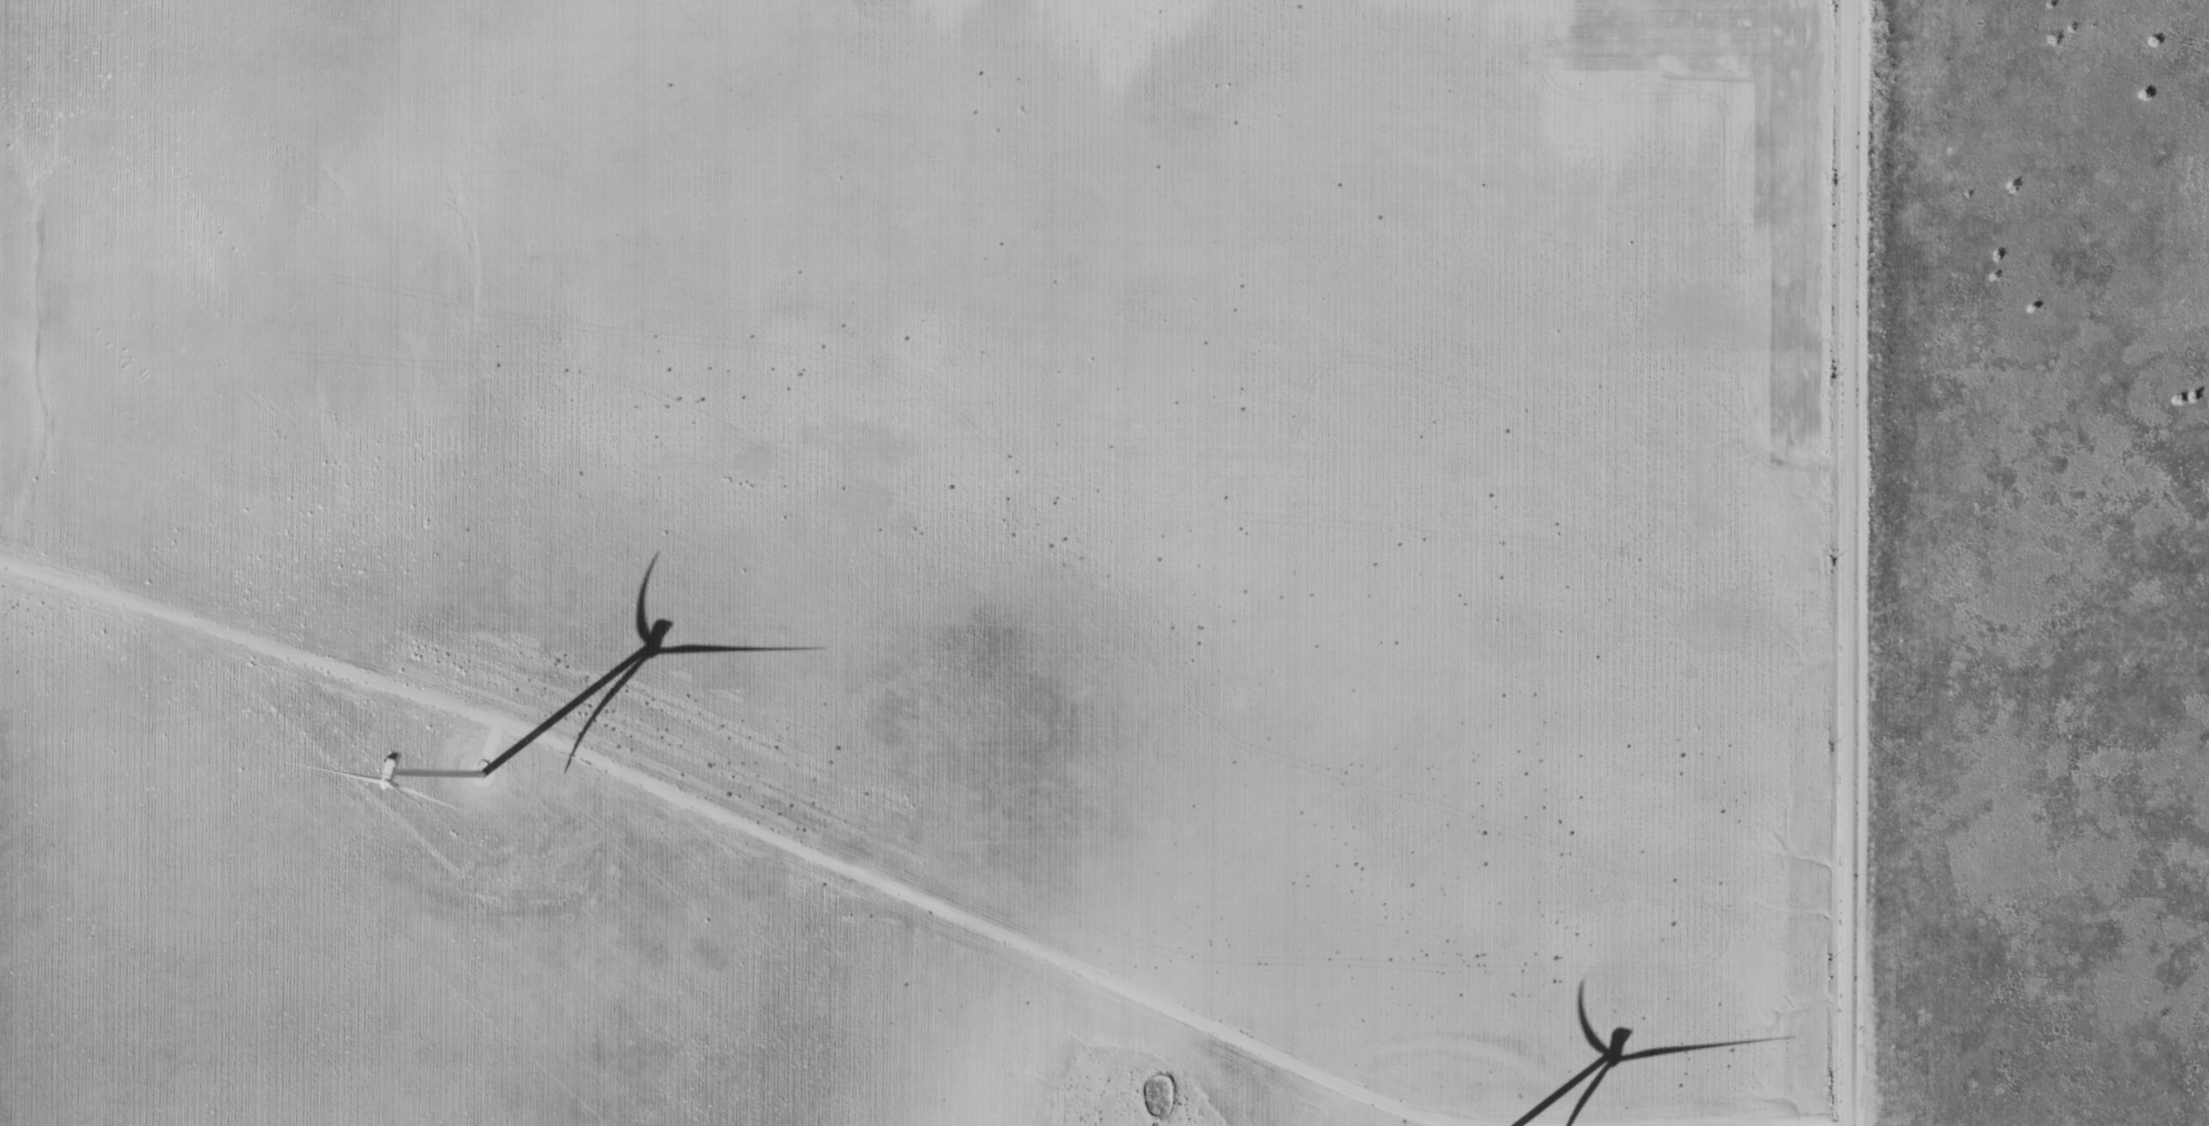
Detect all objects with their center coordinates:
road: (1895, 563)
wind turbine: (472, 776)

